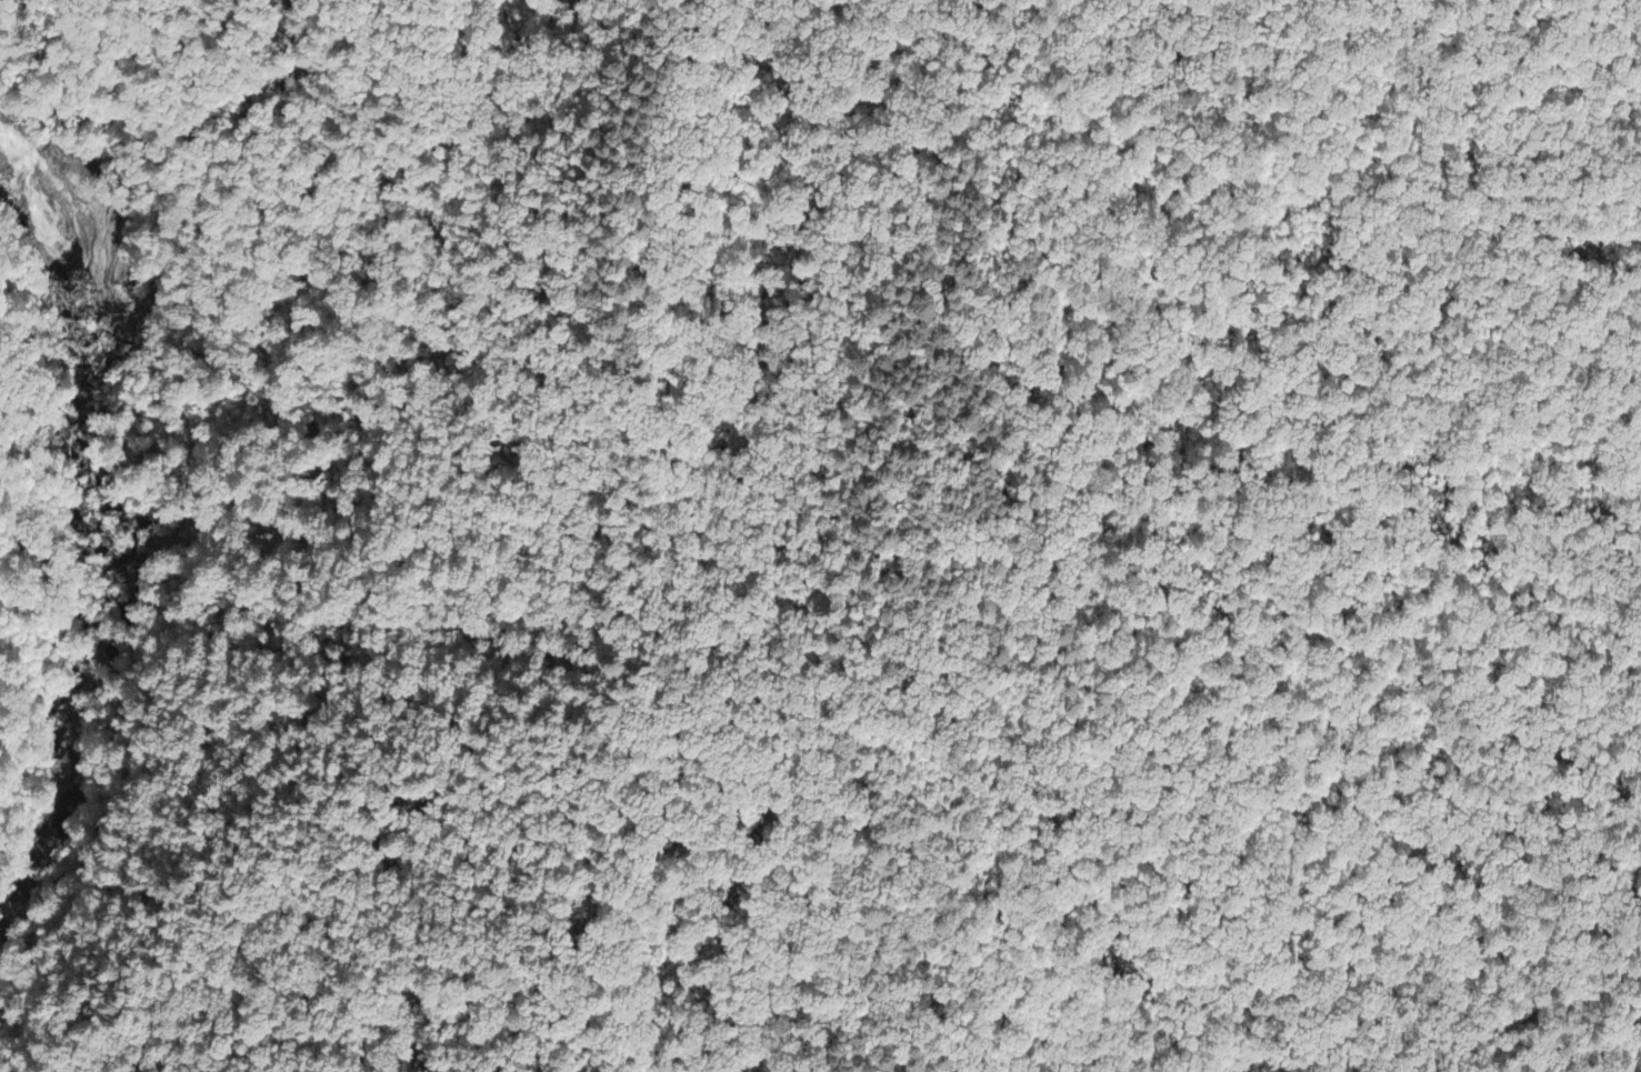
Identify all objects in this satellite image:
road: (69, 368)
river: (99, 527)
road: (1367, 874)

